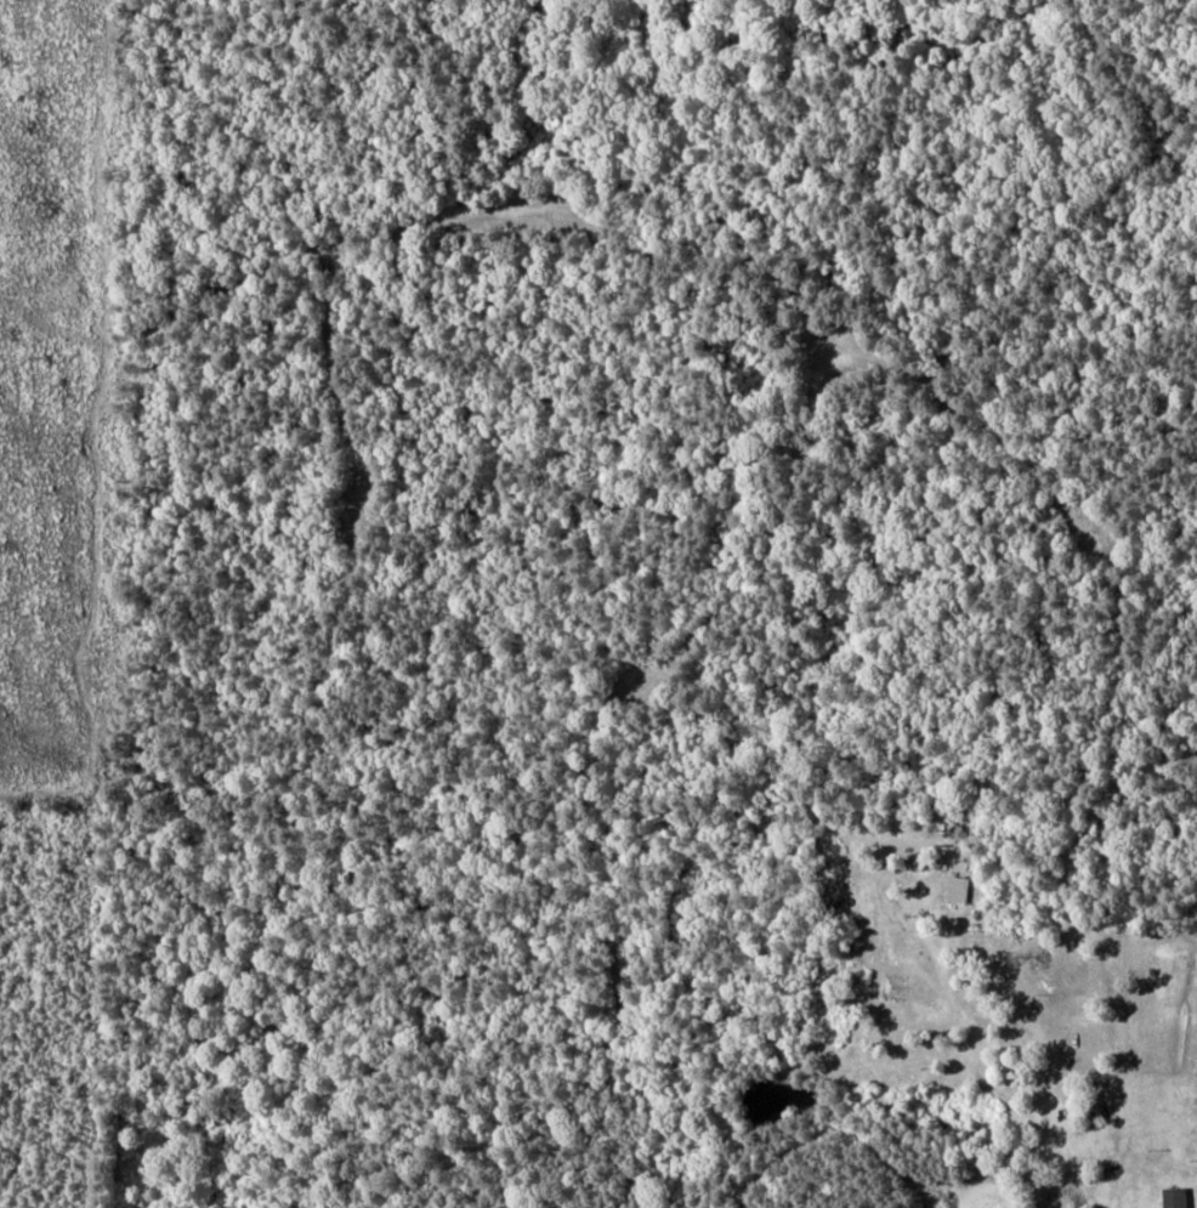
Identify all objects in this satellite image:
building: (958, 889)
building: (1174, 1197)

